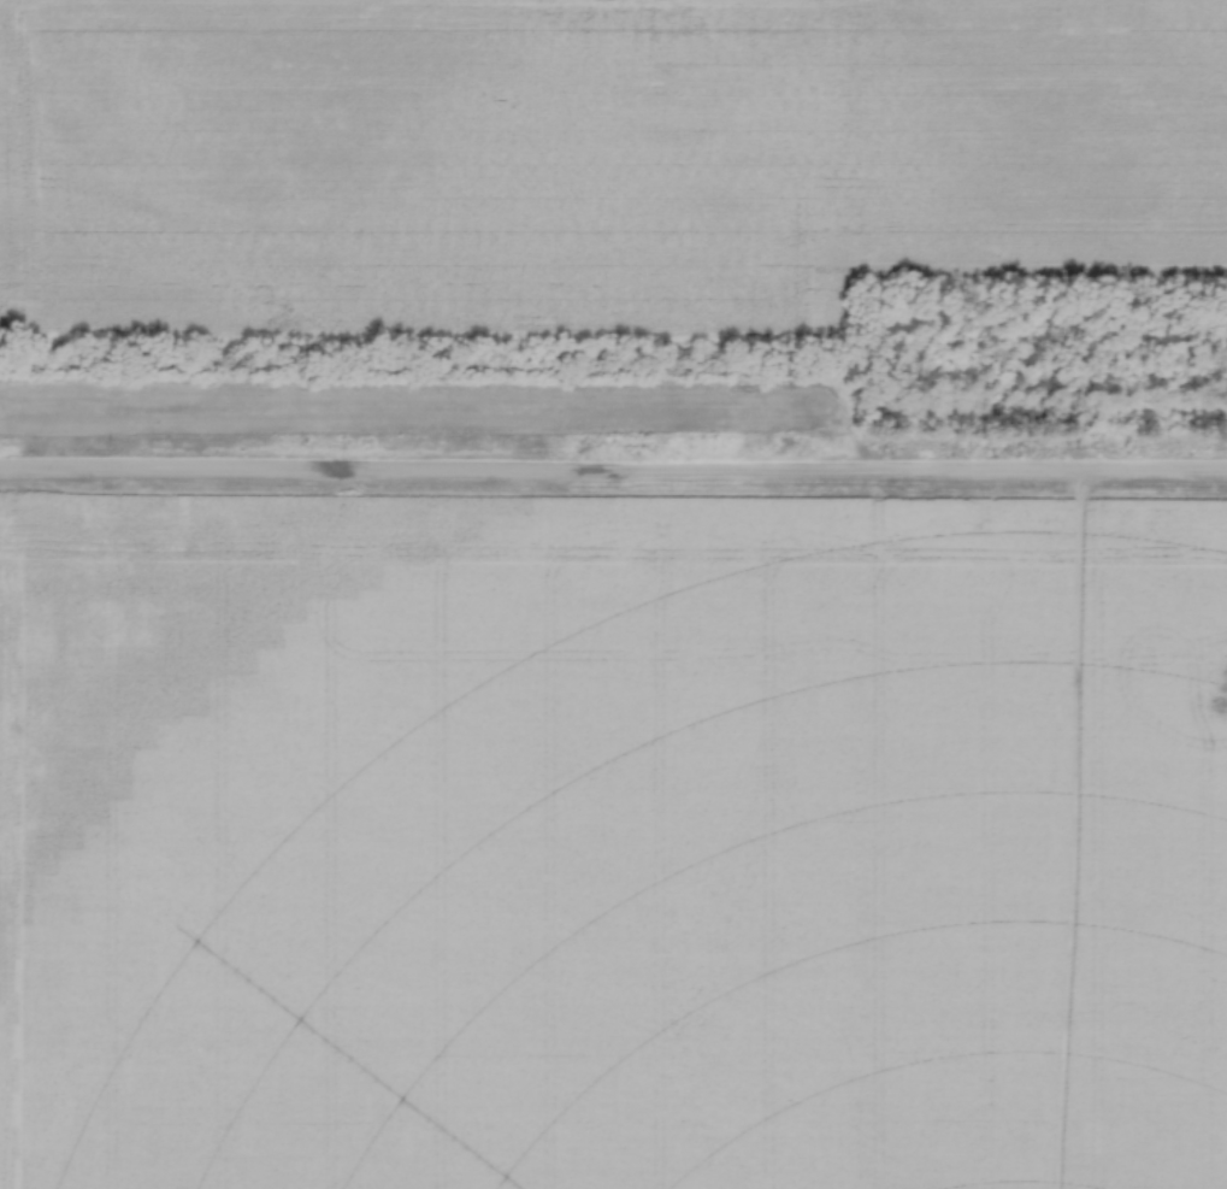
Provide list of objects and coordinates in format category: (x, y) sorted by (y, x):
road: (613, 476)

